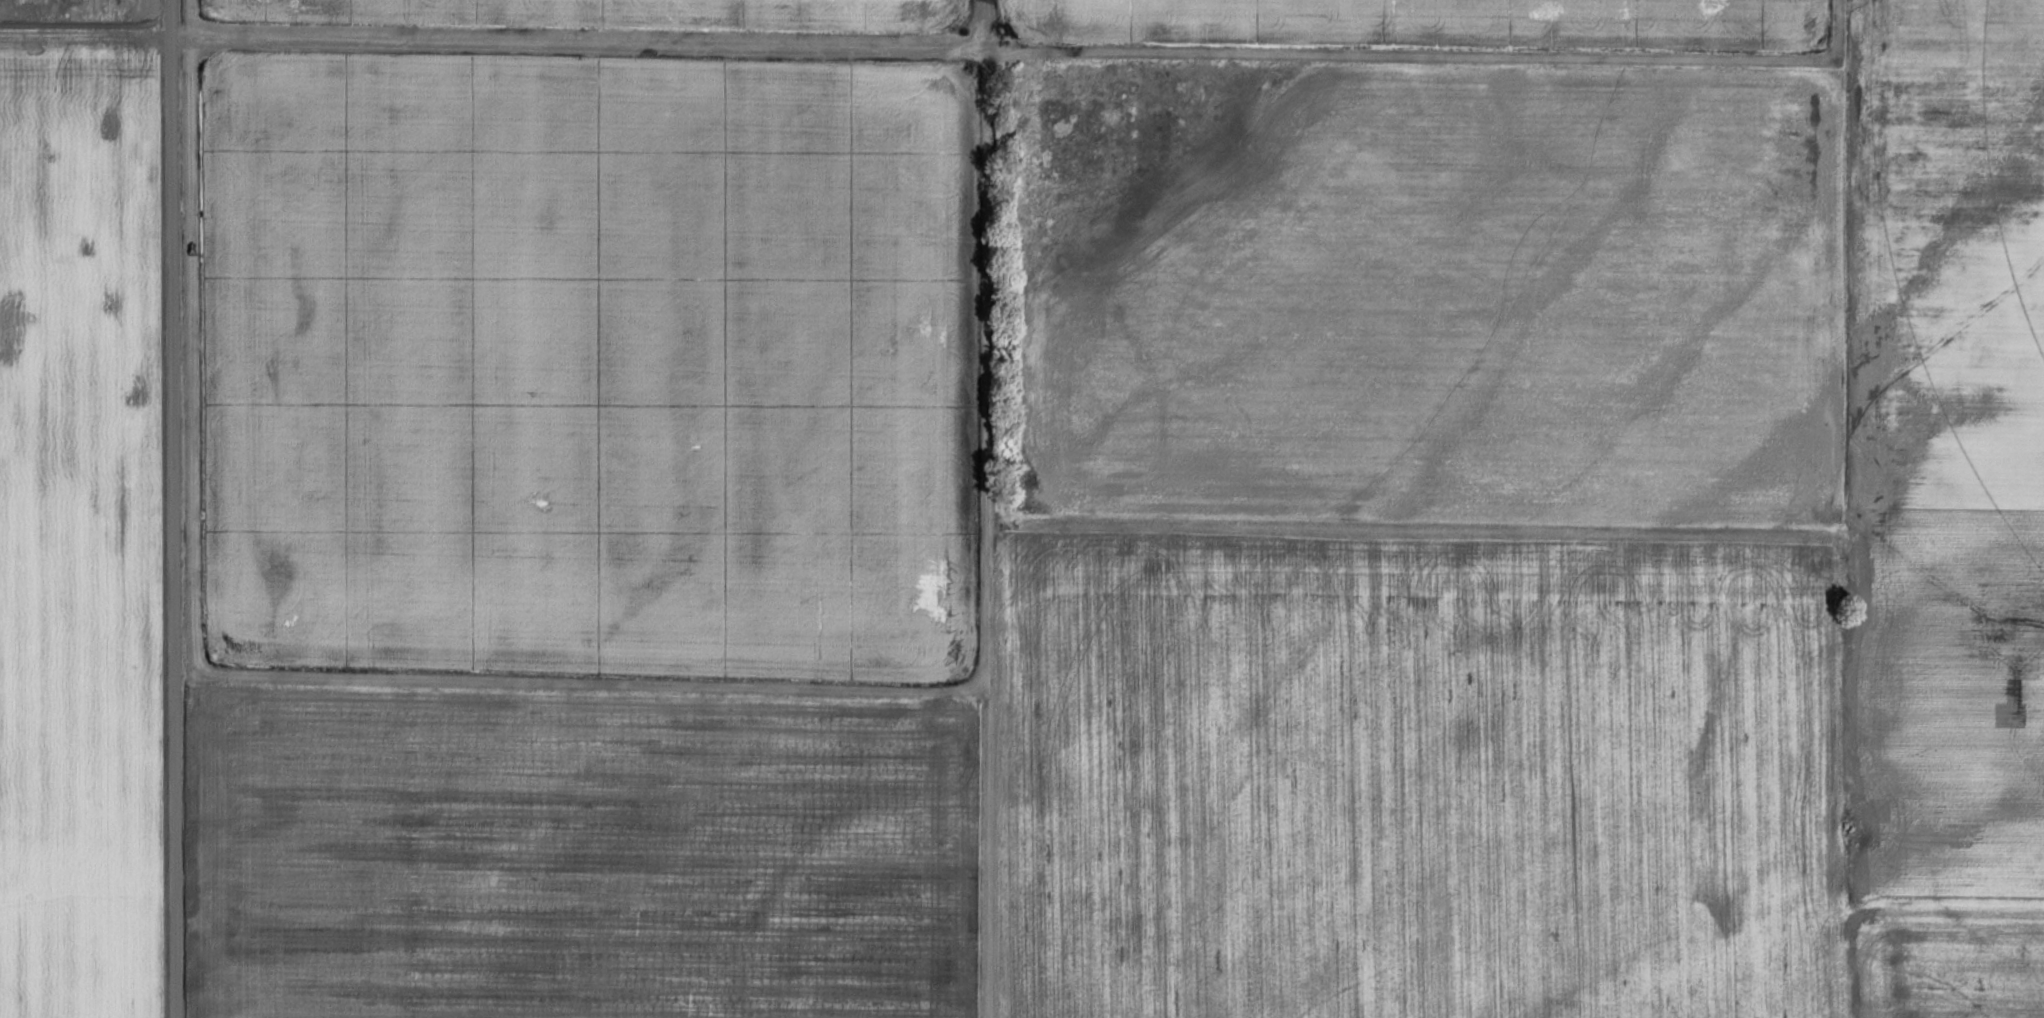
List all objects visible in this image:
road: (88, 44)
road: (179, 508)
road: (988, 509)

